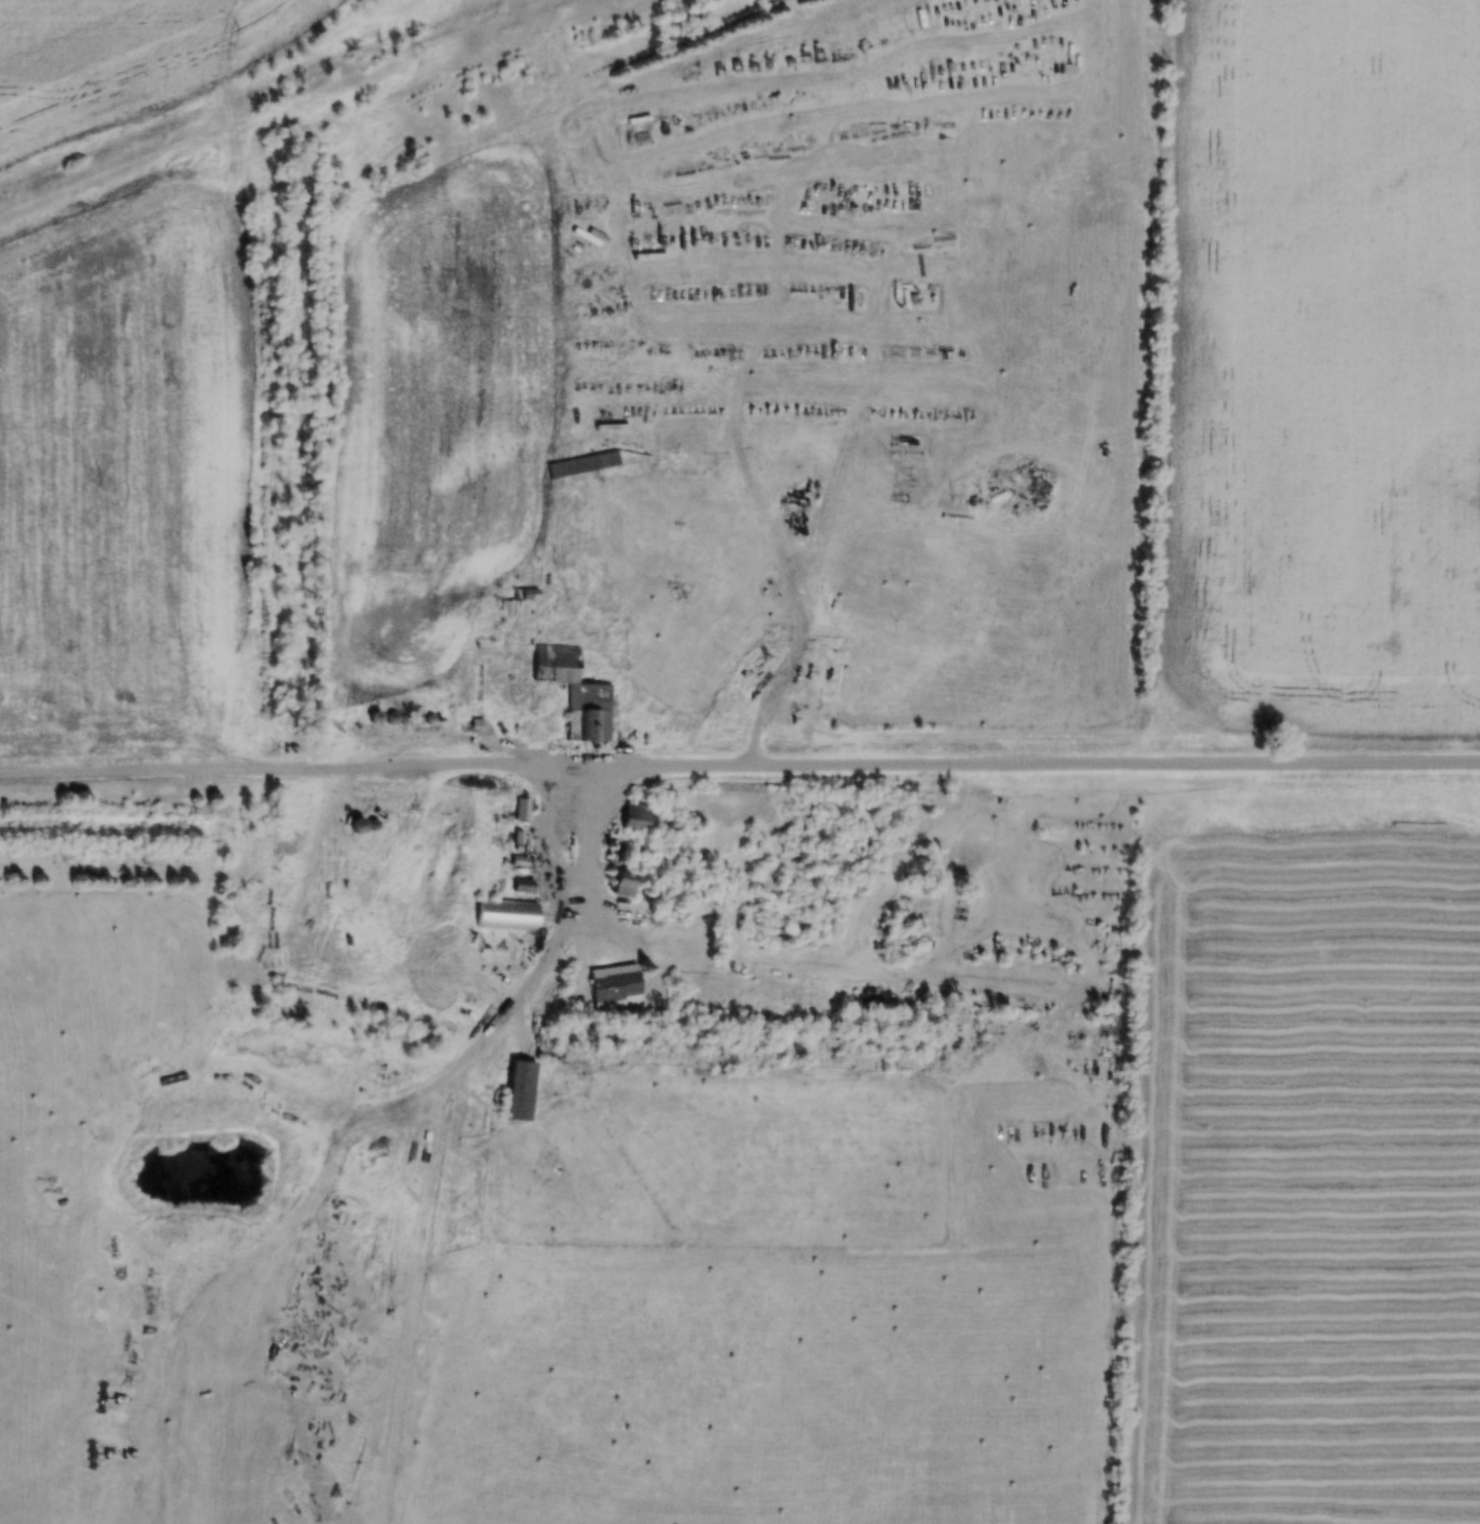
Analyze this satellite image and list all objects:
building: (638, 118)
building: (642, 136)
building: (582, 463)
building: (518, 600)
building: (575, 691)
building: (374, 716)
road: (1025, 765)
road: (285, 773)
building: (522, 809)
building: (634, 815)
building: (356, 824)
road: (553, 840)
building: (623, 884)
building: (522, 885)
road: (576, 899)
building: (506, 915)
building: (614, 986)
building: (1107, 1029)
building: (519, 1090)

